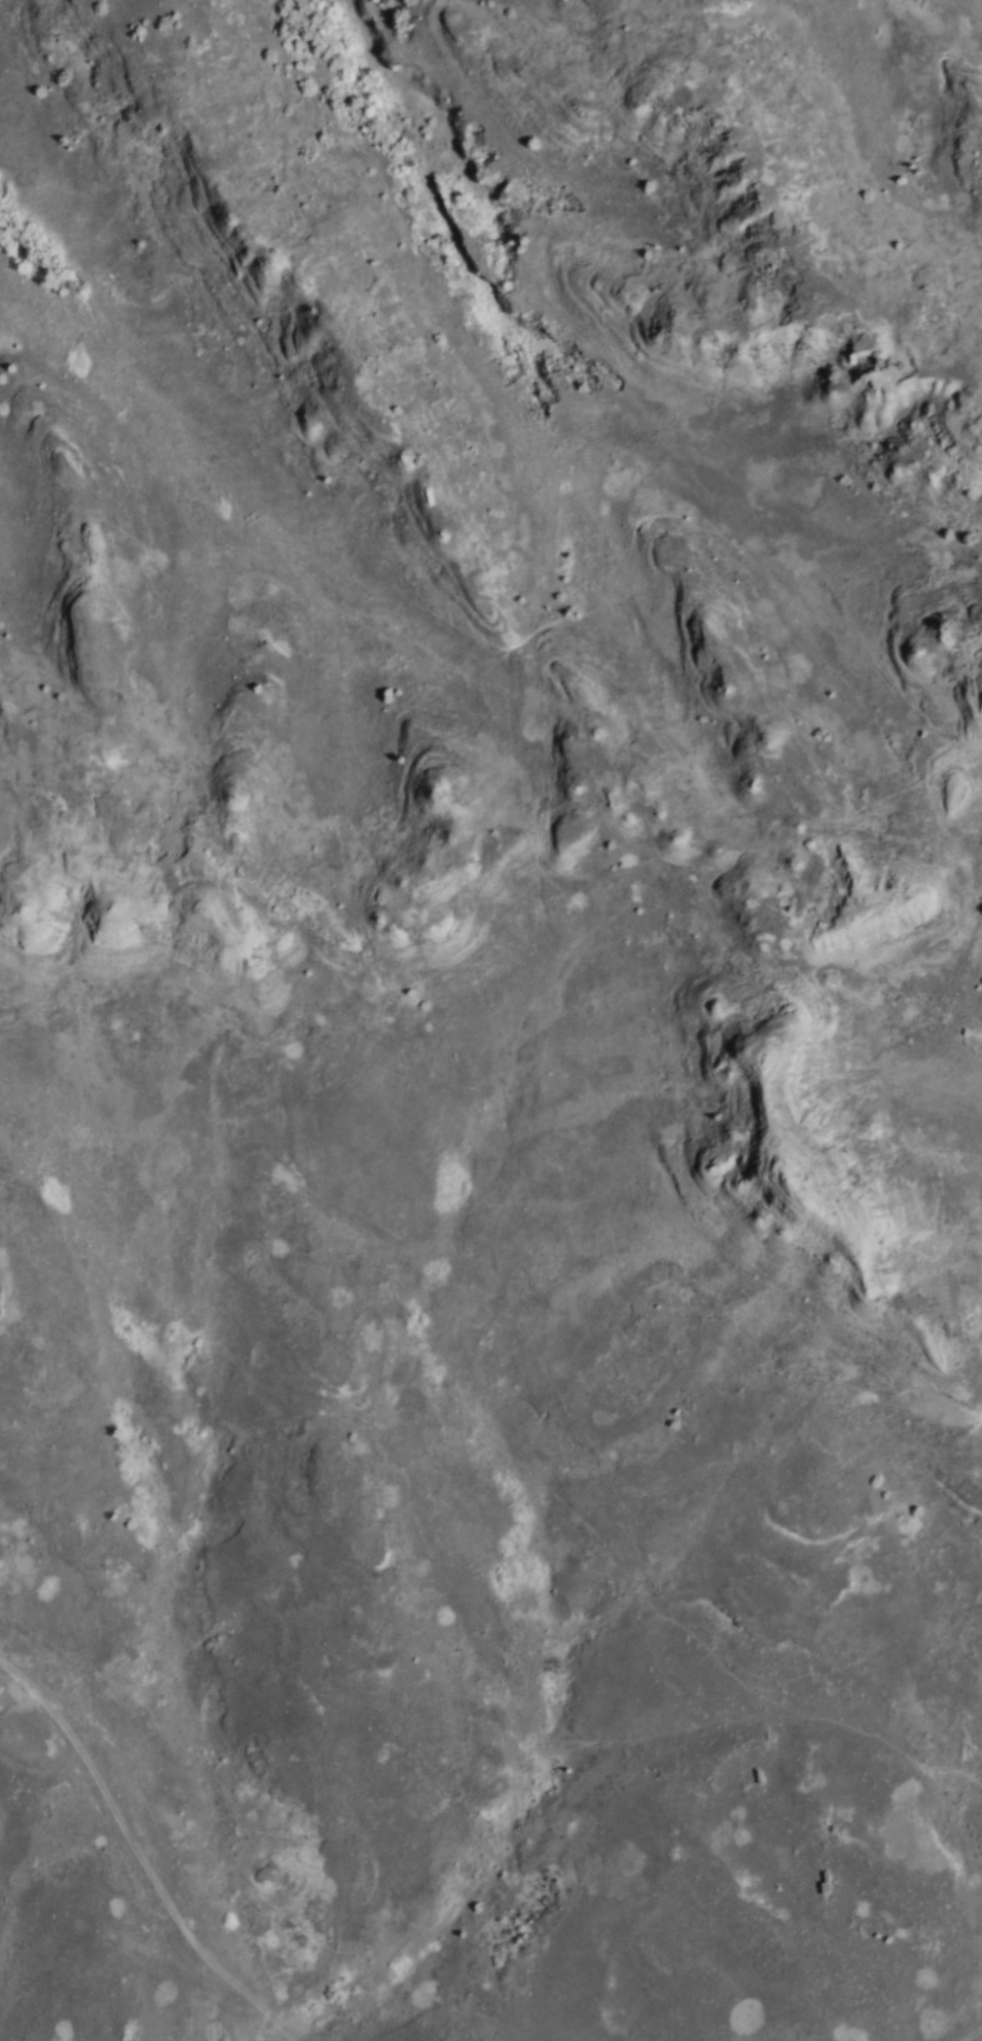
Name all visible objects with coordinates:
road: (141, 1853)
road: (973, 2035)

